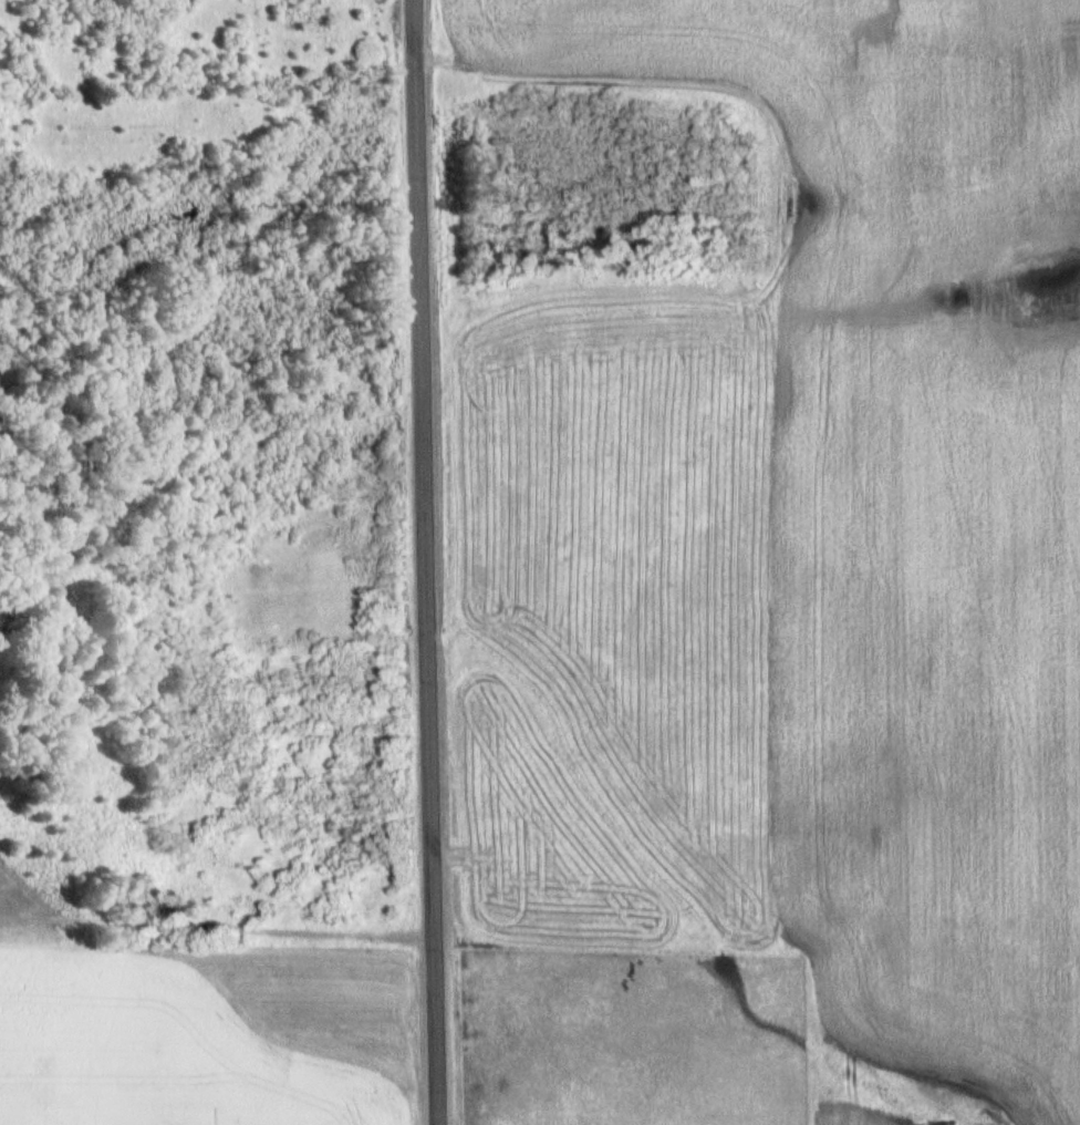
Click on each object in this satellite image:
road: (427, 561)
road: (217, 918)

